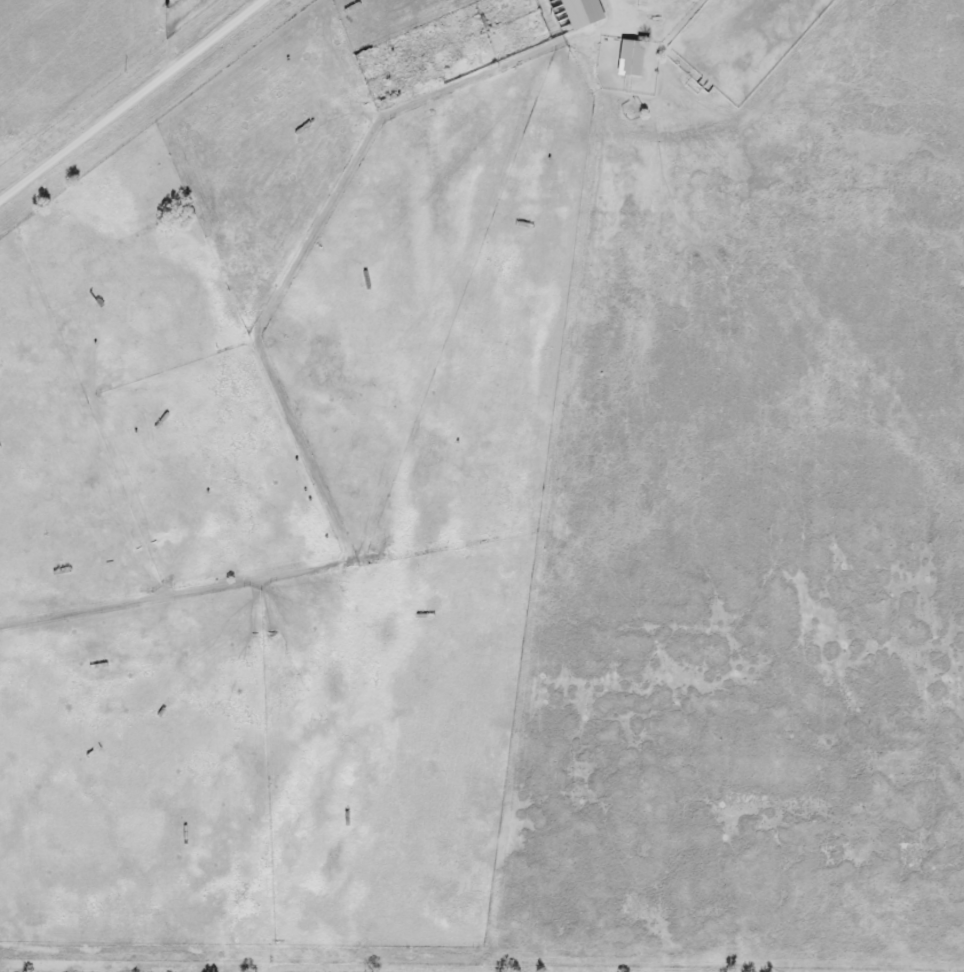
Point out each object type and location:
building: (578, 13)
building: (627, 60)
road: (139, 103)

